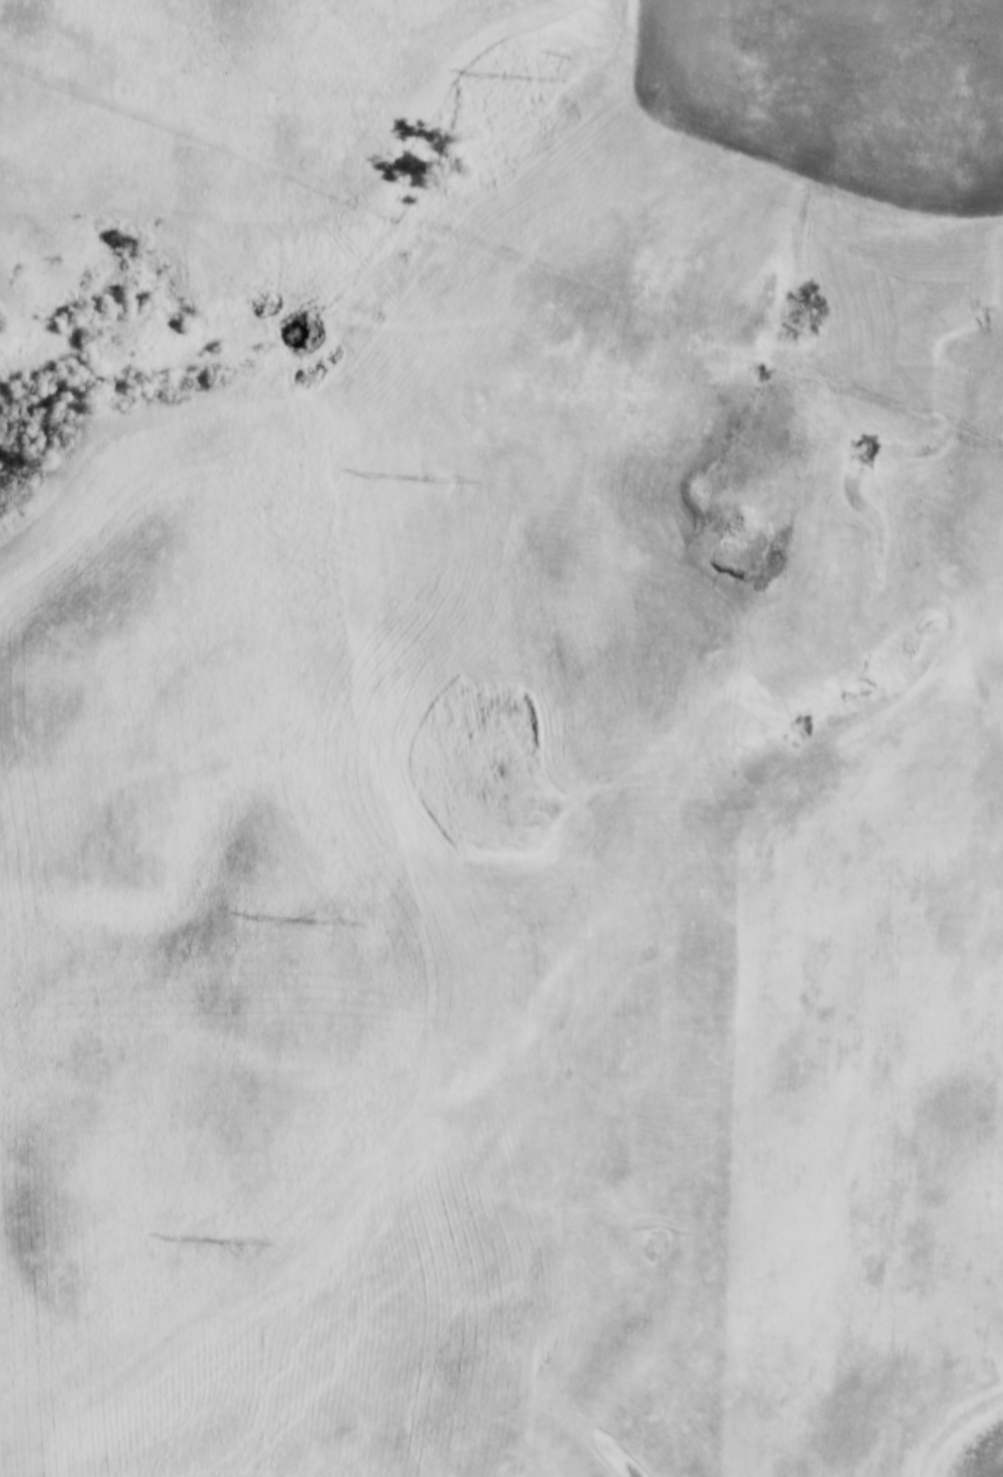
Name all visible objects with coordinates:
power tower: (552, 80)
power tower: (442, 480)
power tower: (326, 920)
power tower: (242, 1242)

